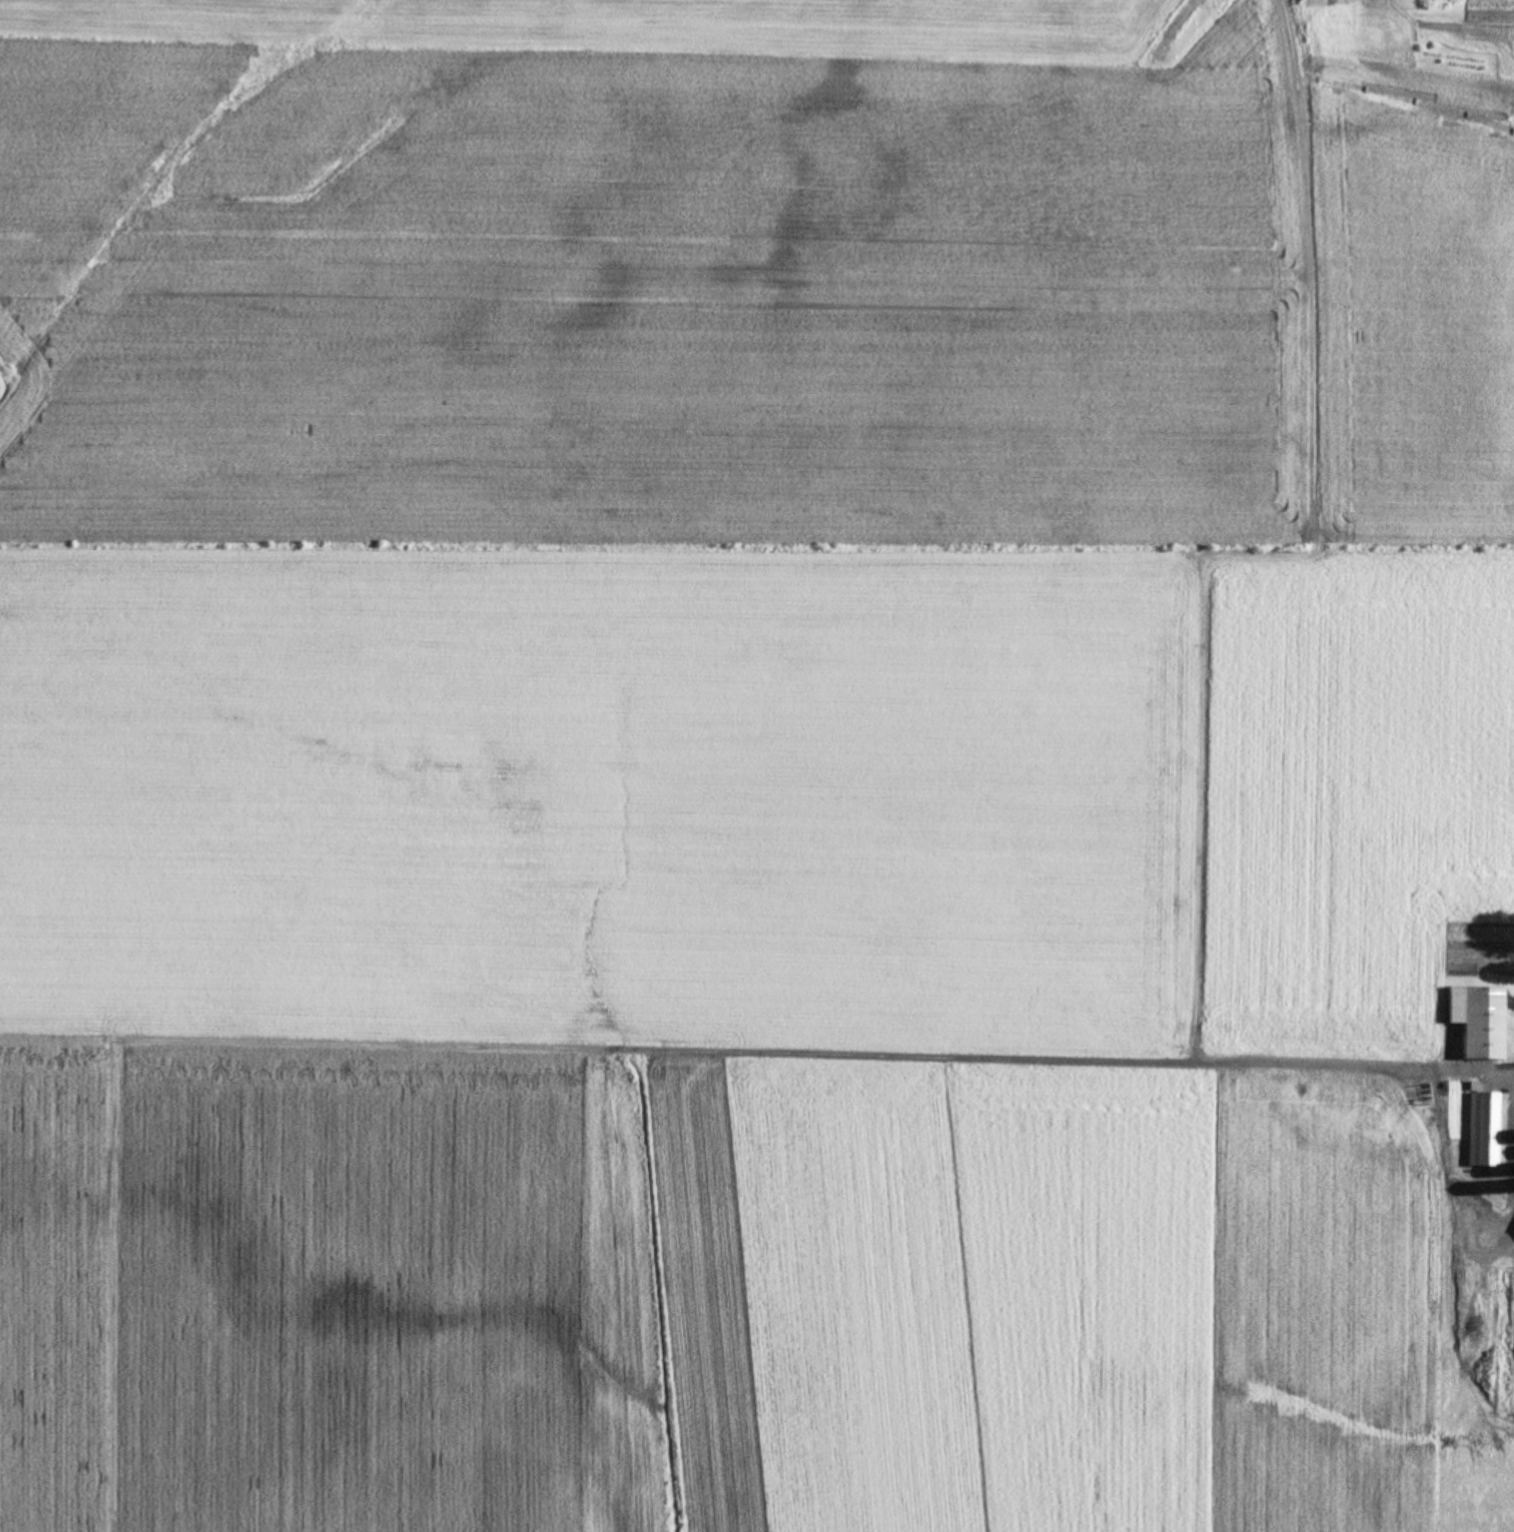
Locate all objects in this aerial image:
building: (1403, 17)
building: (1373, 48)
building: (1476, 1020)
building: (1485, 1129)

